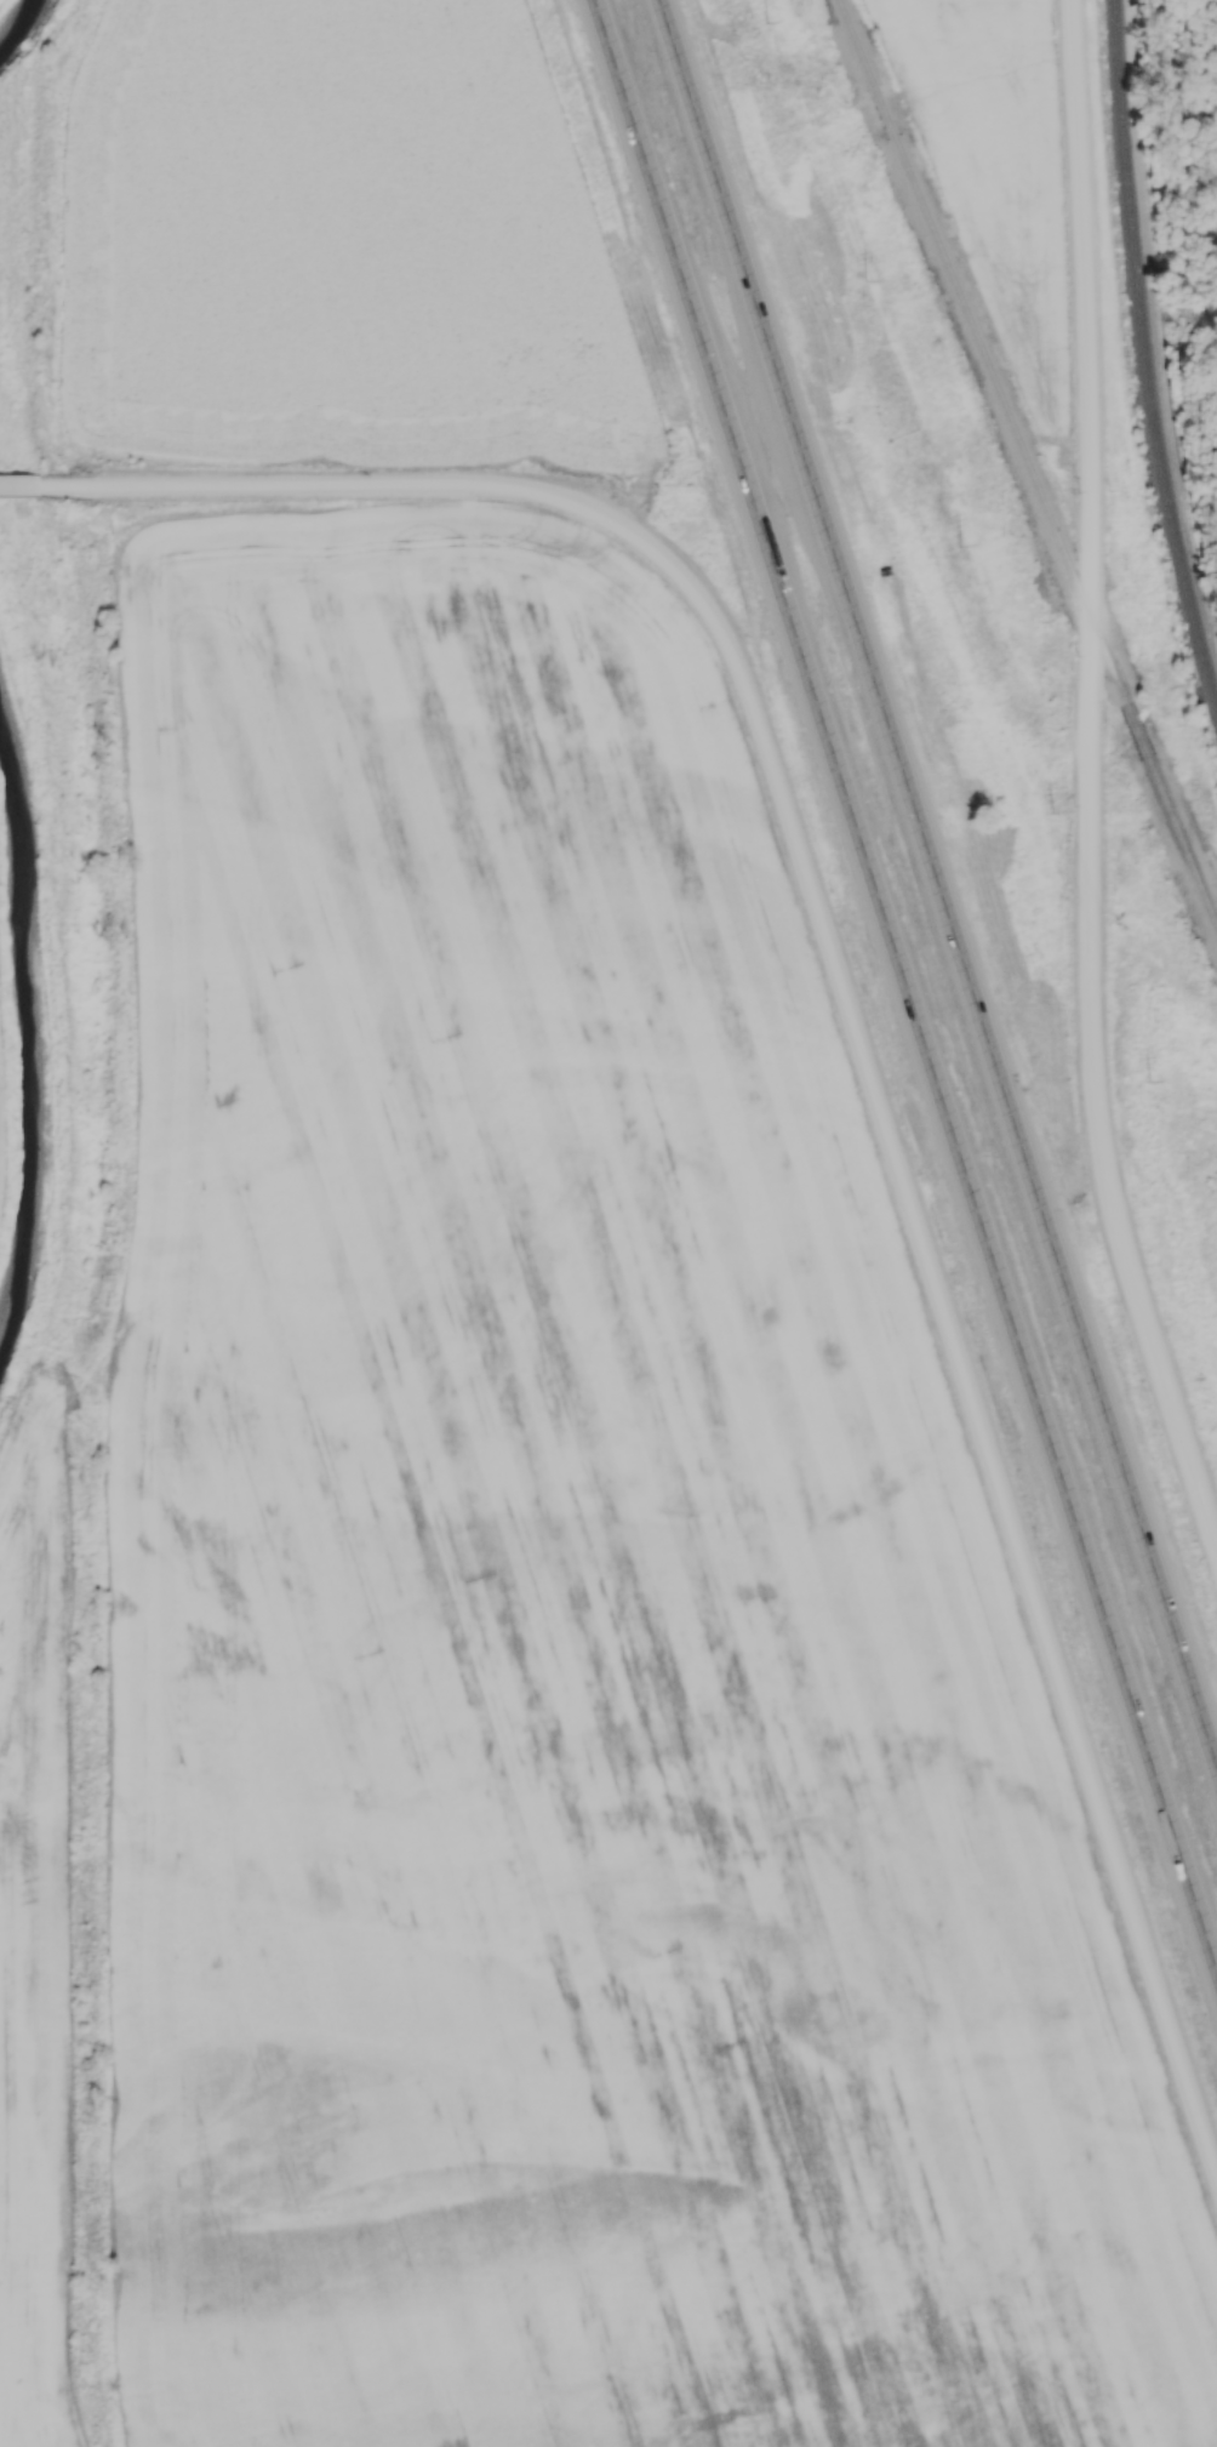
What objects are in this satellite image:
river: (10, 12)
power tower: (770, 22)
power tower: (867, 279)
railway: (979, 349)
railway: (1147, 353)
road: (29, 487)
power tower: (962, 543)
railway: (1135, 729)
road: (1087, 785)
power tower: (1055, 810)
railway: (1181, 843)
road: (937, 883)
road: (903, 988)
river: (29, 1027)
road: (863, 1061)
power tower: (1152, 1079)

